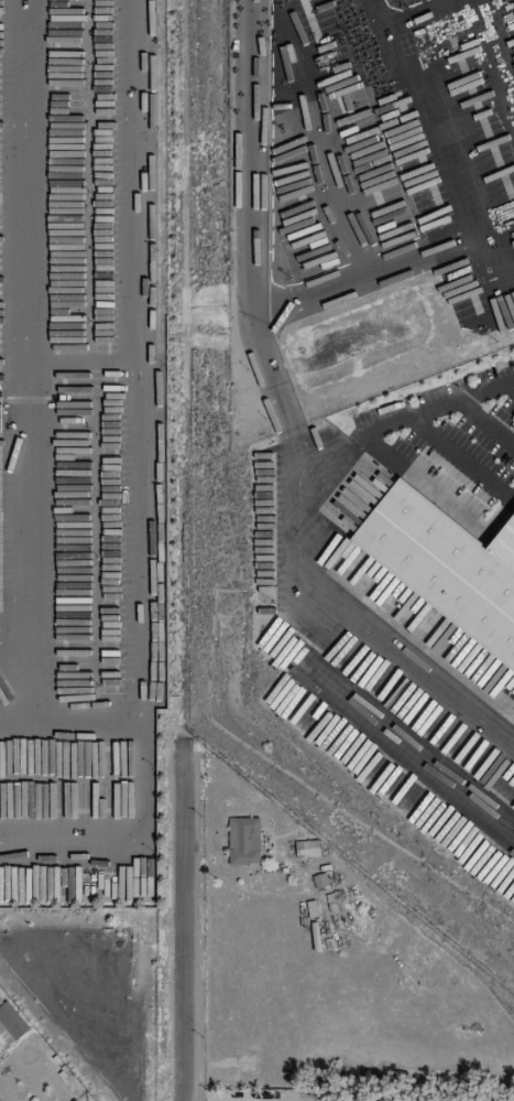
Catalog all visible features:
road: (404, 15)
road: (437, 122)
road: (251, 247)
road: (397, 262)
road: (511, 384)
road: (482, 389)
building: (0, 417)
building: (504, 546)
road: (295, 548)
building: (444, 569)
road: (19, 637)
road: (20, 714)
road: (94, 717)
building: (242, 841)
road: (36, 845)
building: (306, 848)
road: (182, 919)
building: (11, 1021)
building: (4, 1038)
road: (223, 1099)

